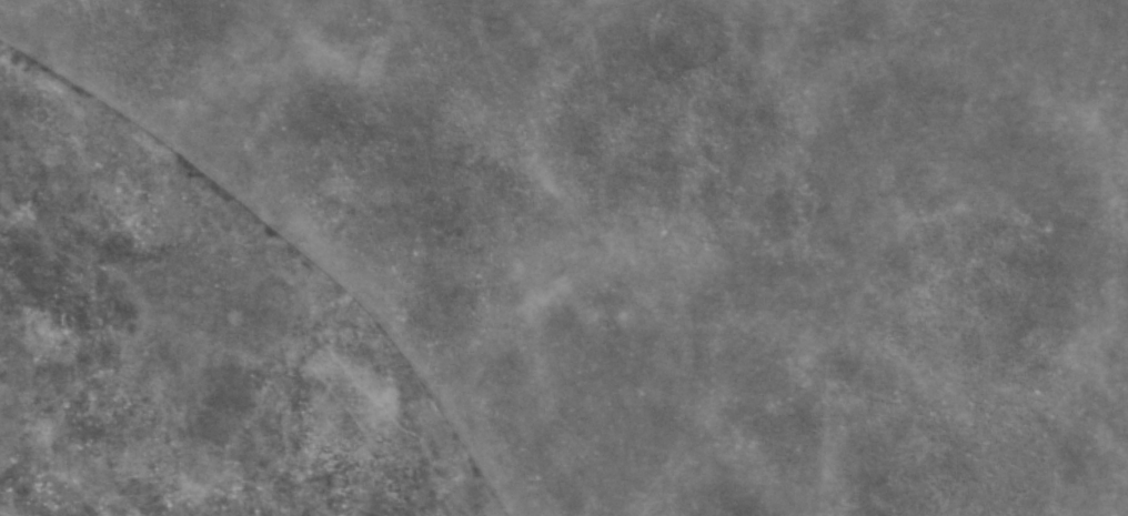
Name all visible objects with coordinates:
crop: (187, 343)

